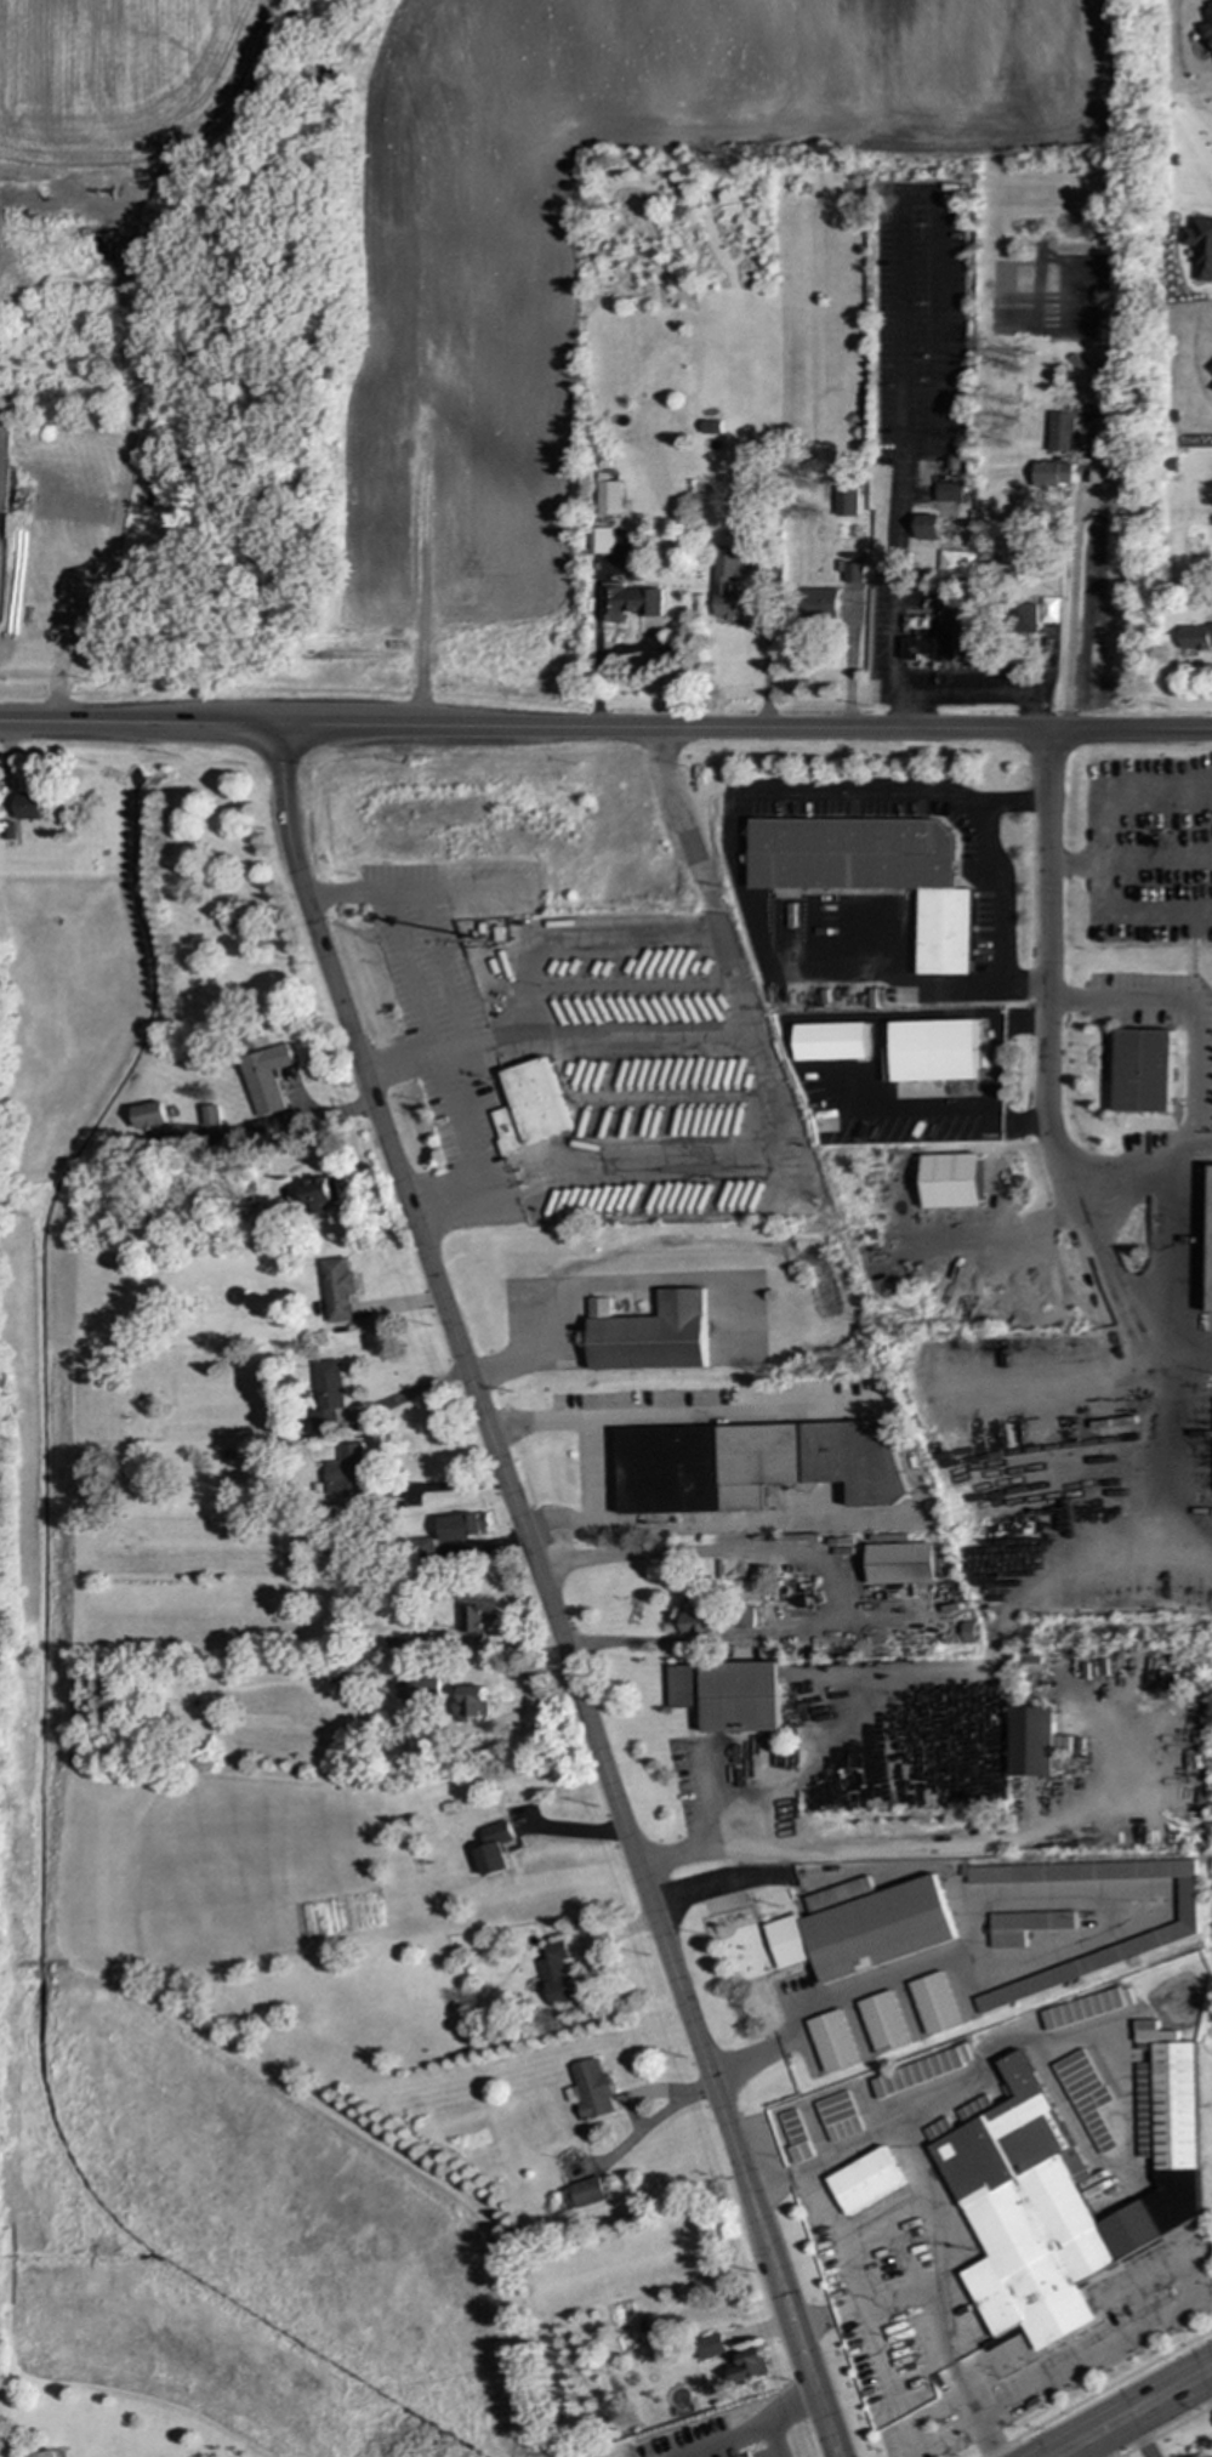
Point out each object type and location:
building: (1207, 24)
crop: (116, 76)
building: (1200, 246)
road: (906, 326)
road: (140, 339)
building: (1210, 366)
crop: (465, 421)
building: (711, 427)
building: (1062, 432)
building: (1052, 474)
building: (949, 491)
building: (610, 497)
building: (846, 501)
building: (928, 527)
building: (601, 540)
building: (1011, 550)
building: (956, 564)
building: (853, 571)
building: (728, 585)
building: (628, 602)
road: (1076, 602)
building: (820, 603)
building: (1026, 619)
building: (1196, 637)
building: (946, 638)
road: (764, 662)
road: (594, 665)
road: (986, 692)
road: (605, 729)
road: (1123, 795)
building: (29, 806)
road: (1074, 858)
road: (736, 870)
building: (872, 872)
road: (996, 891)
road: (404, 923)
road: (1122, 925)
road: (1047, 976)
road: (1126, 990)
road: (557, 1036)
building: (830, 1042)
building: (933, 1051)
road: (1200, 1070)
building: (1143, 1071)
building: (264, 1077)
building: (530, 1107)
building: (148, 1115)
building: (210, 1116)
road: (784, 1119)
road: (1139, 1166)
building: (951, 1181)
building: (320, 1194)
road: (1163, 1233)
building: (1210, 1244)
road: (580, 1285)
building: (336, 1289)
road: (1128, 1291)
building: (649, 1333)
building: (325, 1395)
road: (901, 1452)
building: (751, 1464)
building: (343, 1472)
building: (462, 1526)
building: (421, 1549)
building: (899, 1564)
road: (832, 1576)
road: (544, 1596)
road: (872, 1608)
building: (471, 1619)
building: (700, 1621)
building: (966, 1632)
road: (989, 1650)
building: (416, 1688)
building: (727, 1695)
building: (472, 1701)
road: (512, 1714)
building: (1030, 1741)
road: (945, 1848)
building: (494, 1849)
road: (928, 1869)
road: (721, 1883)
building: (1024, 1926)
building: (860, 1927)
building: (556, 1973)
road: (850, 1992)
building: (933, 2003)
building: (1086, 2008)
building: (882, 2023)
building: (830, 2041)
road: (741, 2060)
building: (918, 2071)
building: (590, 2091)
building: (1085, 2097)
building: (836, 2116)
building: (793, 2137)
building: (861, 2180)
building: (1064, 2189)
building: (581, 2192)
road: (1172, 2305)
road: (926, 2314)
building: (709, 2347)
building: (749, 2365)
road: (1202, 2377)
road: (1096, 2391)
road: (1127, 2404)
park: (1211, 2413)
road: (1149, 2419)
road: (753, 2425)
road: (1165, 2430)
road: (1134, 2433)
building: (47, 2455)

